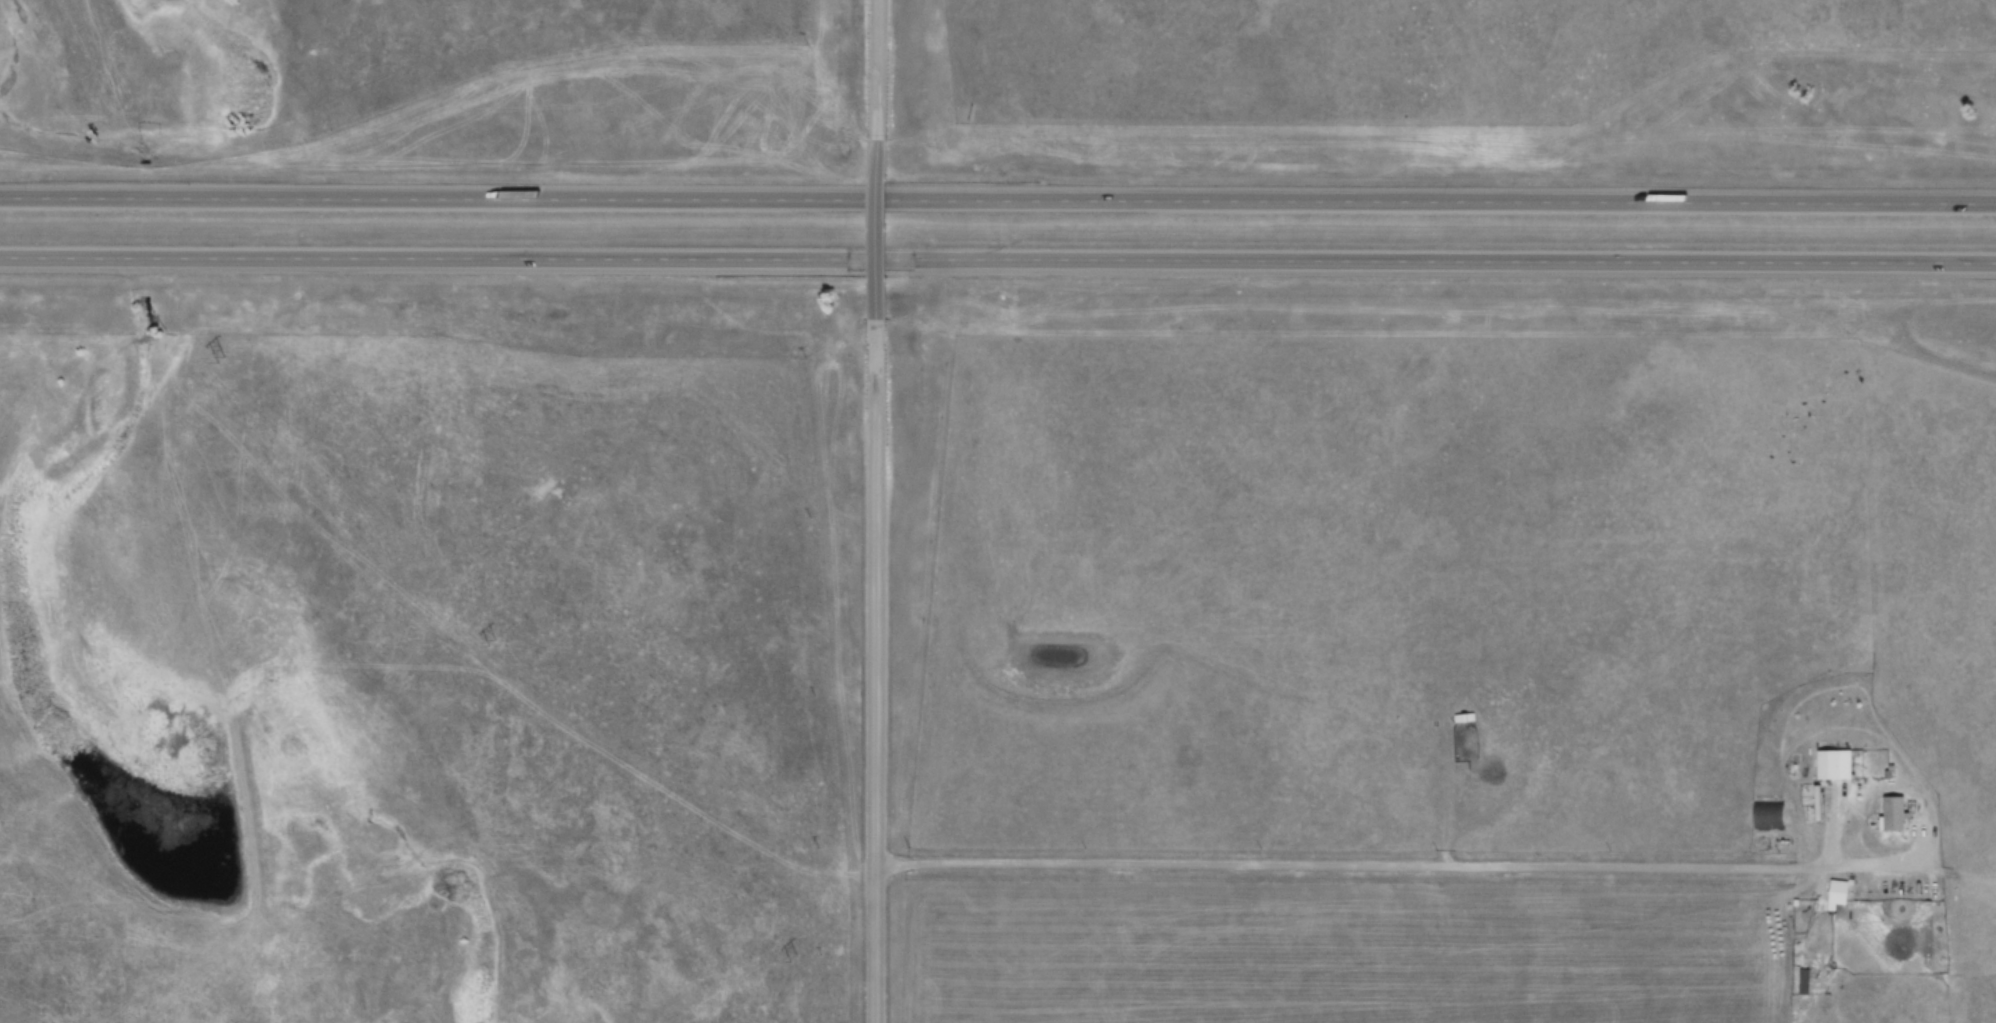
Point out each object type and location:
road: (881, 69)
road: (998, 199)
road: (880, 228)
road: (998, 258)
power tower: (219, 360)
power tower: (489, 643)
road: (877, 671)
building: (1465, 717)
building: (1827, 758)
building: (1763, 809)
building: (1896, 813)
building: (1820, 890)
building: (1839, 891)
power tower: (791, 958)
building: (1798, 977)
building: (1805, 981)

